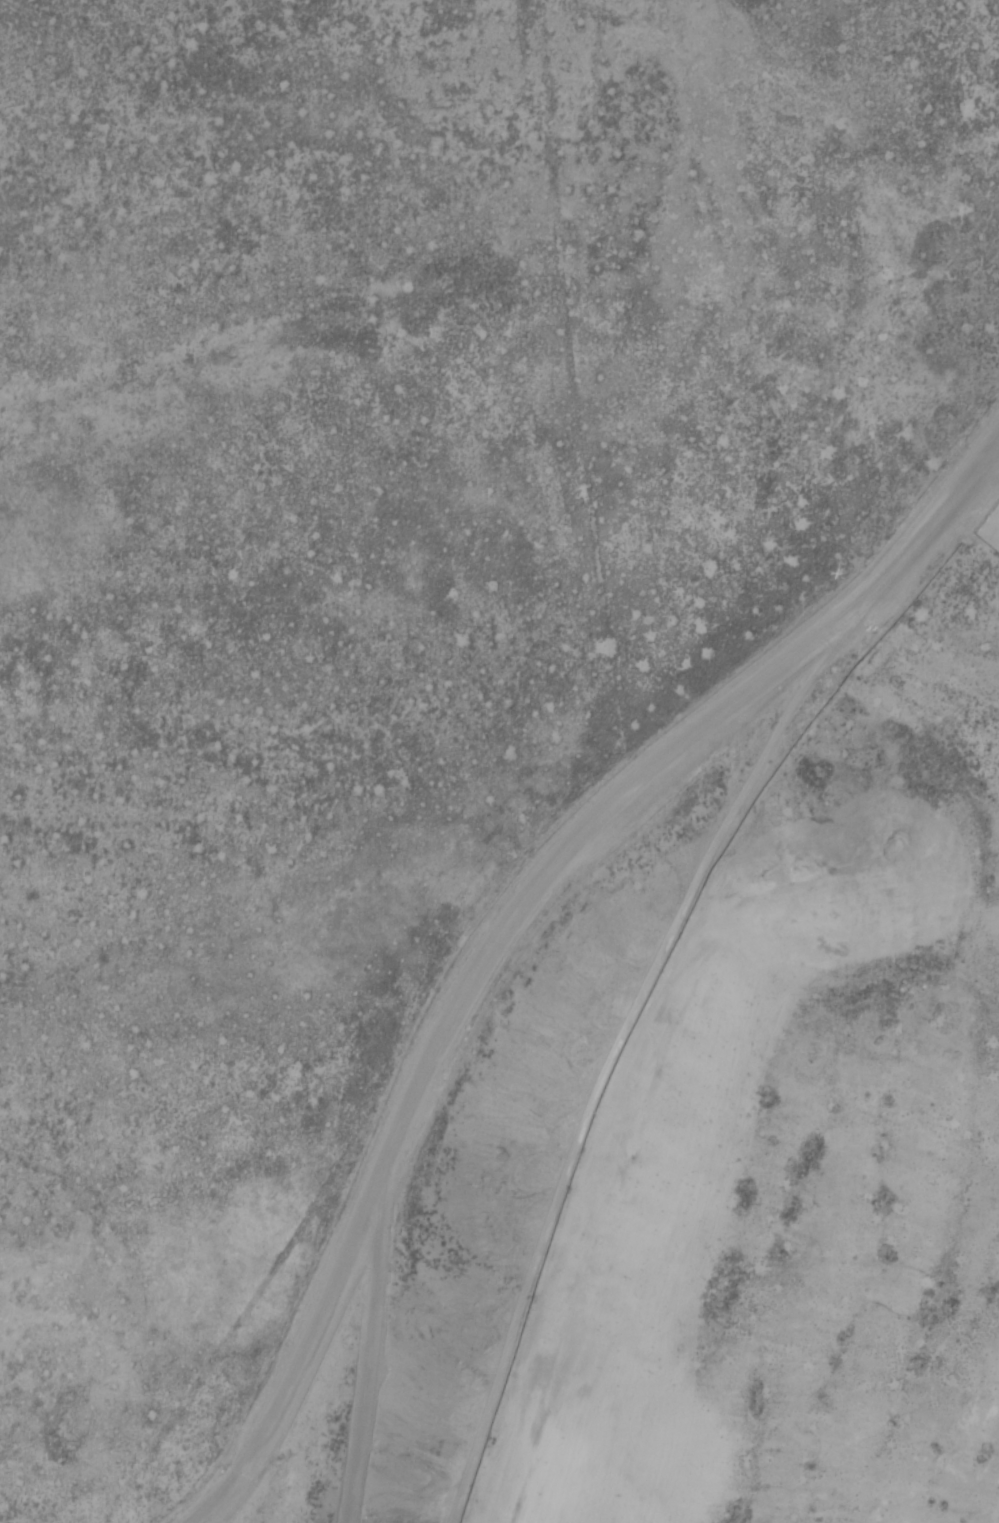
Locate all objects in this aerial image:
quarry: (652, 1101)

